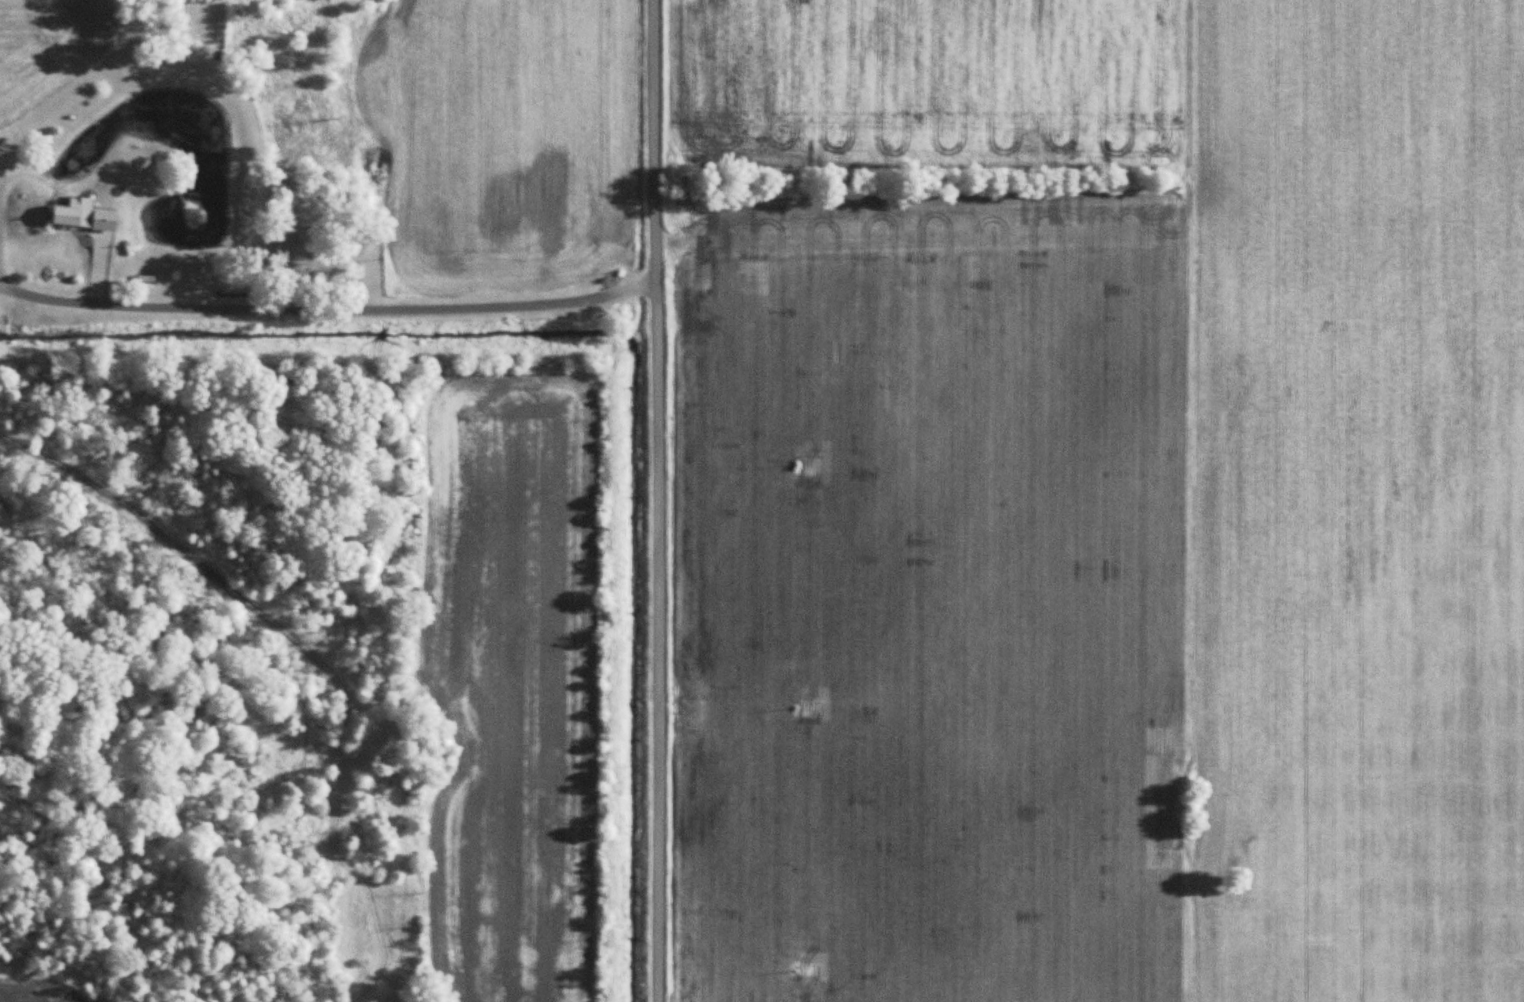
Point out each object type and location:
building: (75, 213)
road: (325, 307)
road: (663, 500)

